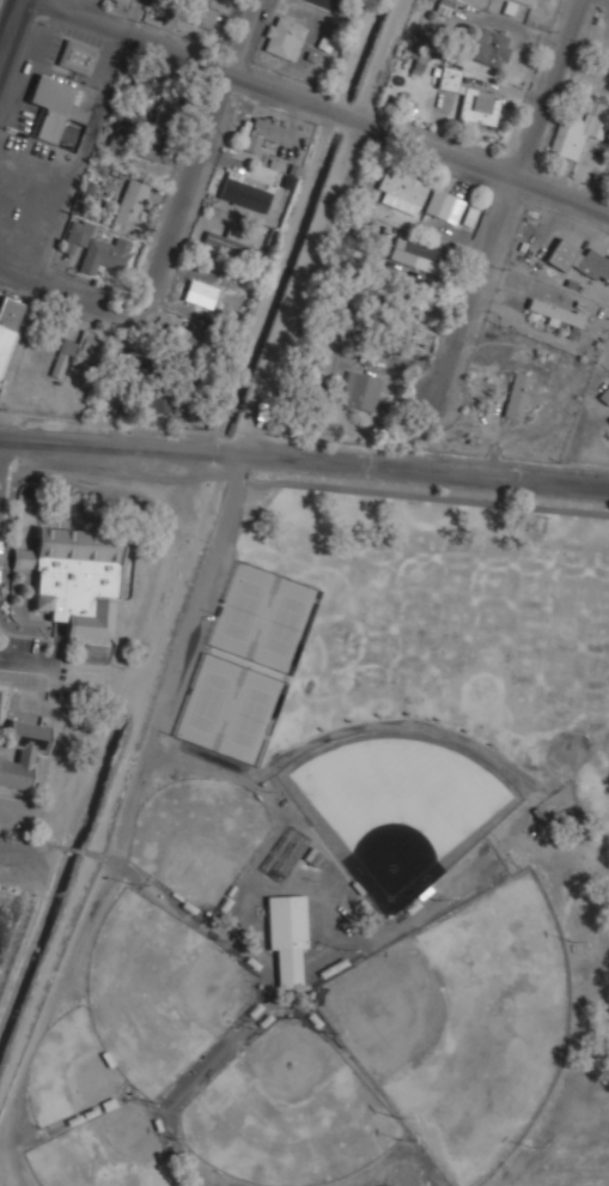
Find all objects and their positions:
building: (122, 0)
building: (530, 1)
building: (324, 2)
building: (160, 6)
building: (205, 13)
road: (11, 31)
building: (284, 37)
building: (488, 46)
road: (2, 49)
building: (77, 56)
building: (449, 75)
building: (153, 91)
building: (479, 104)
building: (53, 109)
road: (321, 110)
building: (579, 128)
building: (263, 132)
building: (134, 147)
building: (401, 190)
building: (245, 192)
road: (512, 199)
building: (132, 202)
building: (444, 205)
road: (177, 241)
building: (233, 243)
building: (97, 246)
building: (414, 254)
building: (580, 259)
building: (201, 292)
building: (556, 311)
building: (7, 322)
building: (400, 323)
building: (183, 338)
building: (83, 346)
building: (134, 364)
building: (360, 391)
building: (520, 395)
building: (605, 395)
building: (148, 404)
road: (304, 455)
road: (2, 461)
building: (74, 577)
park: (242, 609)
park: (284, 624)
building: (98, 652)
road: (29, 659)
park: (207, 701)
road: (159, 709)
park: (250, 716)
building: (23, 752)
park: (397, 801)
park: (197, 837)
park: (353, 872)
building: (287, 936)
park: (159, 991)
park: (462, 1024)
park: (69, 1070)
park: (287, 1112)
park: (104, 1151)

